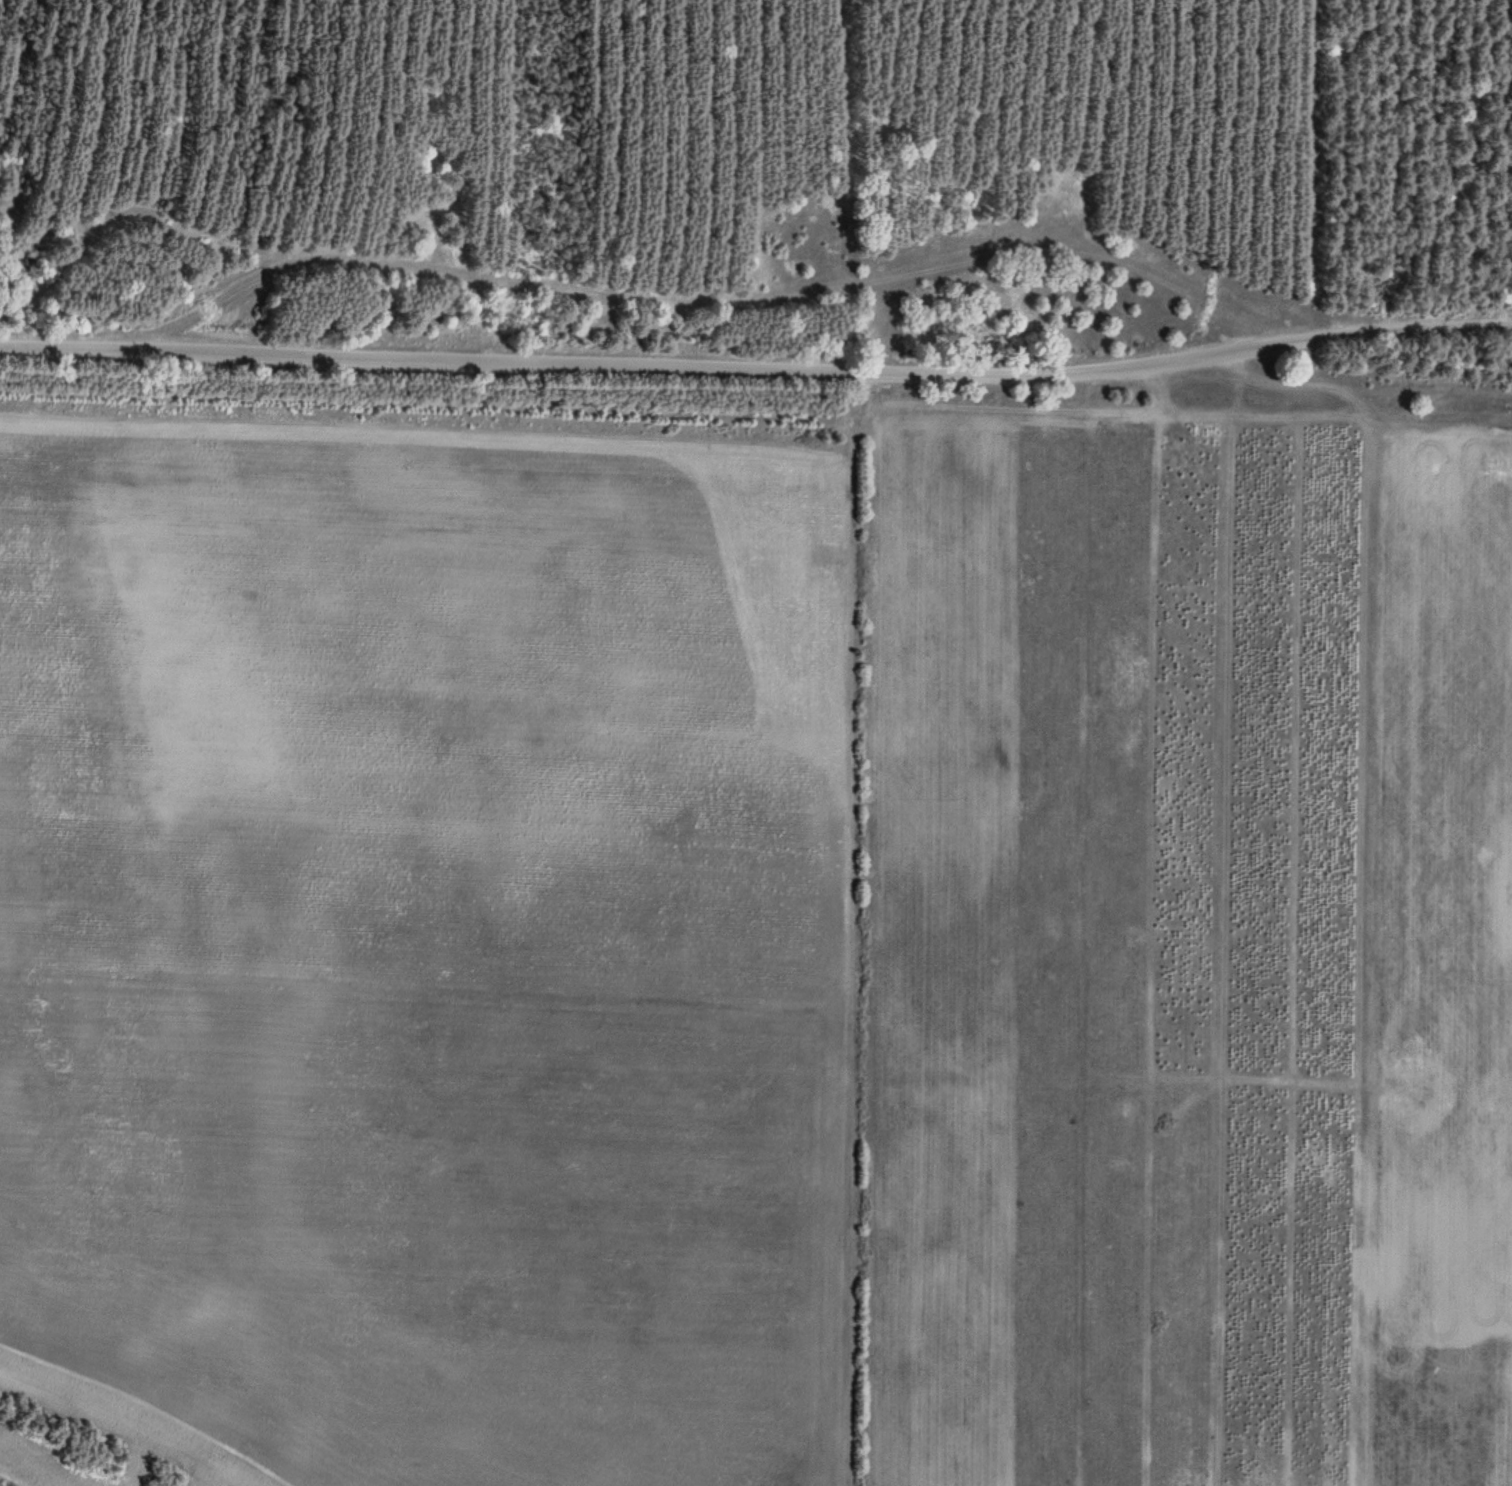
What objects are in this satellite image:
road: (756, 300)
road: (125, 1422)

